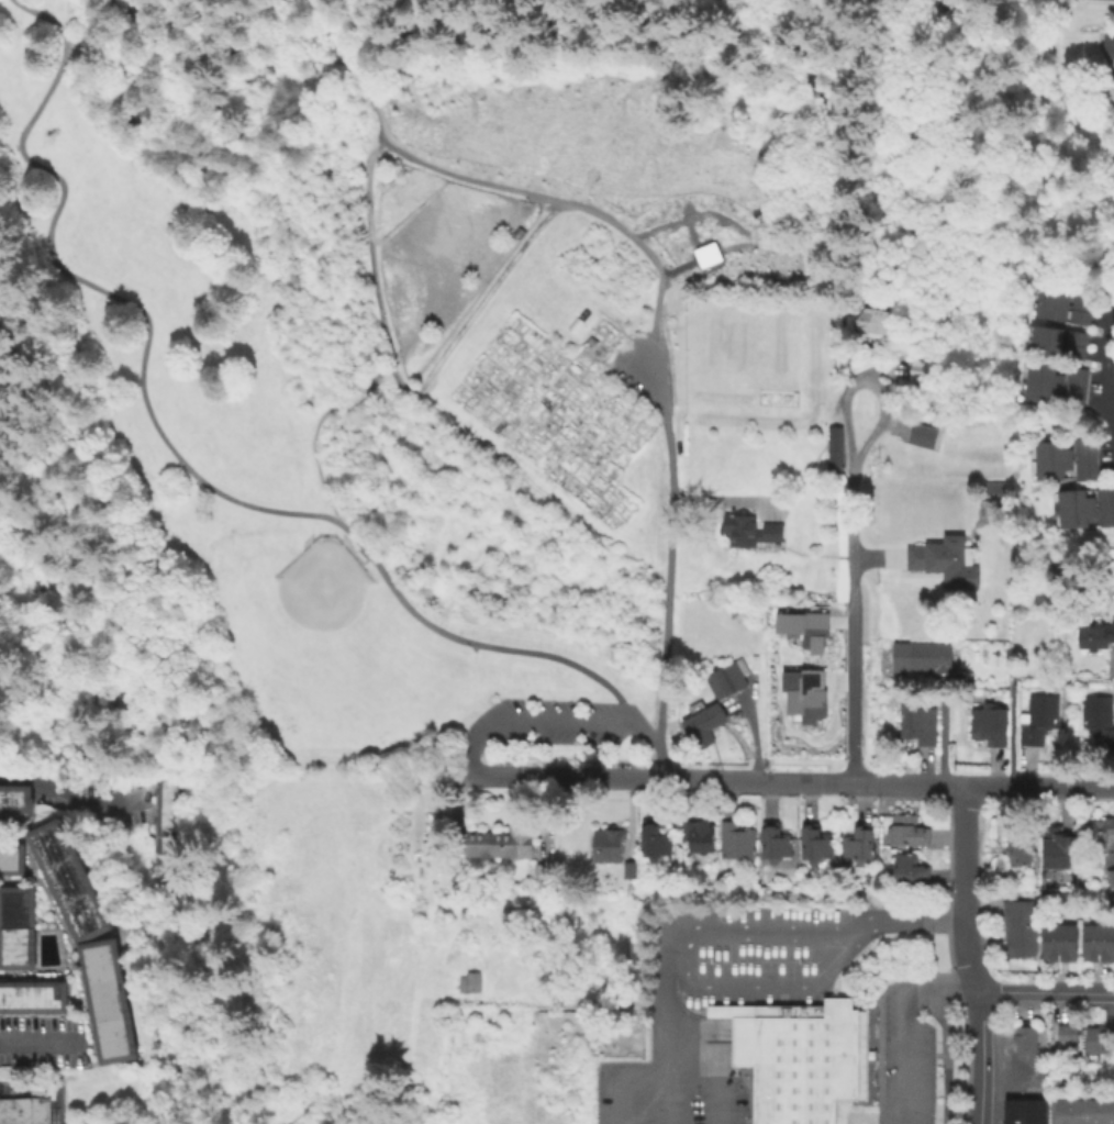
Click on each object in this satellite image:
road: (77, 15)
road: (43, 16)
road: (245, 24)
road: (378, 32)
building: (1106, 46)
road: (733, 47)
road: (285, 55)
road: (151, 68)
road: (230, 69)
road: (364, 90)
road: (43, 101)
road: (12, 173)
road: (829, 196)
road: (575, 204)
road: (370, 265)
building: (1061, 302)
road: (474, 311)
building: (1059, 315)
building: (871, 320)
building: (1056, 337)
park: (421, 343)
building: (895, 346)
building: (1054, 352)
road: (1107, 369)
building: (915, 374)
building: (1054, 378)
road: (359, 389)
building: (1051, 398)
road: (846, 425)
building: (920, 437)
road: (313, 452)
building: (832, 452)
building: (1062, 452)
building: (1082, 458)
building: (1063, 470)
building: (989, 488)
building: (1085, 501)
road: (244, 504)
building: (1084, 520)
building: (746, 528)
road: (669, 550)
building: (943, 560)
park: (322, 586)
building: (801, 627)
building: (1095, 636)
building: (920, 656)
building: (1110, 658)
road: (1112, 663)
park: (331, 679)
road: (849, 692)
building: (803, 694)
building: (712, 708)
road: (527, 716)
building: (1036, 721)
parking lot: (550, 725)
building: (915, 725)
building: (1096, 725)
building: (985, 727)
road: (645, 732)
road: (1010, 732)
road: (942, 736)
road: (659, 764)
road: (923, 770)
road: (565, 779)
road: (712, 781)
road: (807, 782)
road: (906, 783)
road: (1037, 787)
road: (64, 795)
building: (13, 803)
building: (166, 832)
building: (904, 832)
building: (1098, 834)
building: (694, 837)
building: (734, 842)
building: (650, 843)
building: (772, 843)
building: (811, 844)
building: (497, 846)
building: (857, 846)
building: (603, 848)
building: (1015, 850)
building: (1054, 850)
building: (10, 859)
building: (627, 872)
building: (905, 873)
building: (538, 876)
building: (63, 880)
building: (1109, 882)
road: (961, 889)
road: (909, 926)
building: (14, 928)
building: (1016, 931)
road: (669, 937)
building: (1047, 943)
building: (1063, 944)
building: (1087, 944)
building: (1103, 944)
building: (467, 986)
road: (758, 988)
road: (1046, 990)
building: (32, 999)
building: (103, 1002)
road: (905, 1024)
building: (1065, 1035)
road: (35, 1042)
building: (1023, 1042)
building: (1095, 1042)
road: (944, 1056)
road: (982, 1056)
building: (796, 1058)
road: (664, 1076)
flagpole: (873, 1080)
road: (52, 1105)
building: (25, 1109)
building: (1022, 1111)
building: (1081, 1112)

